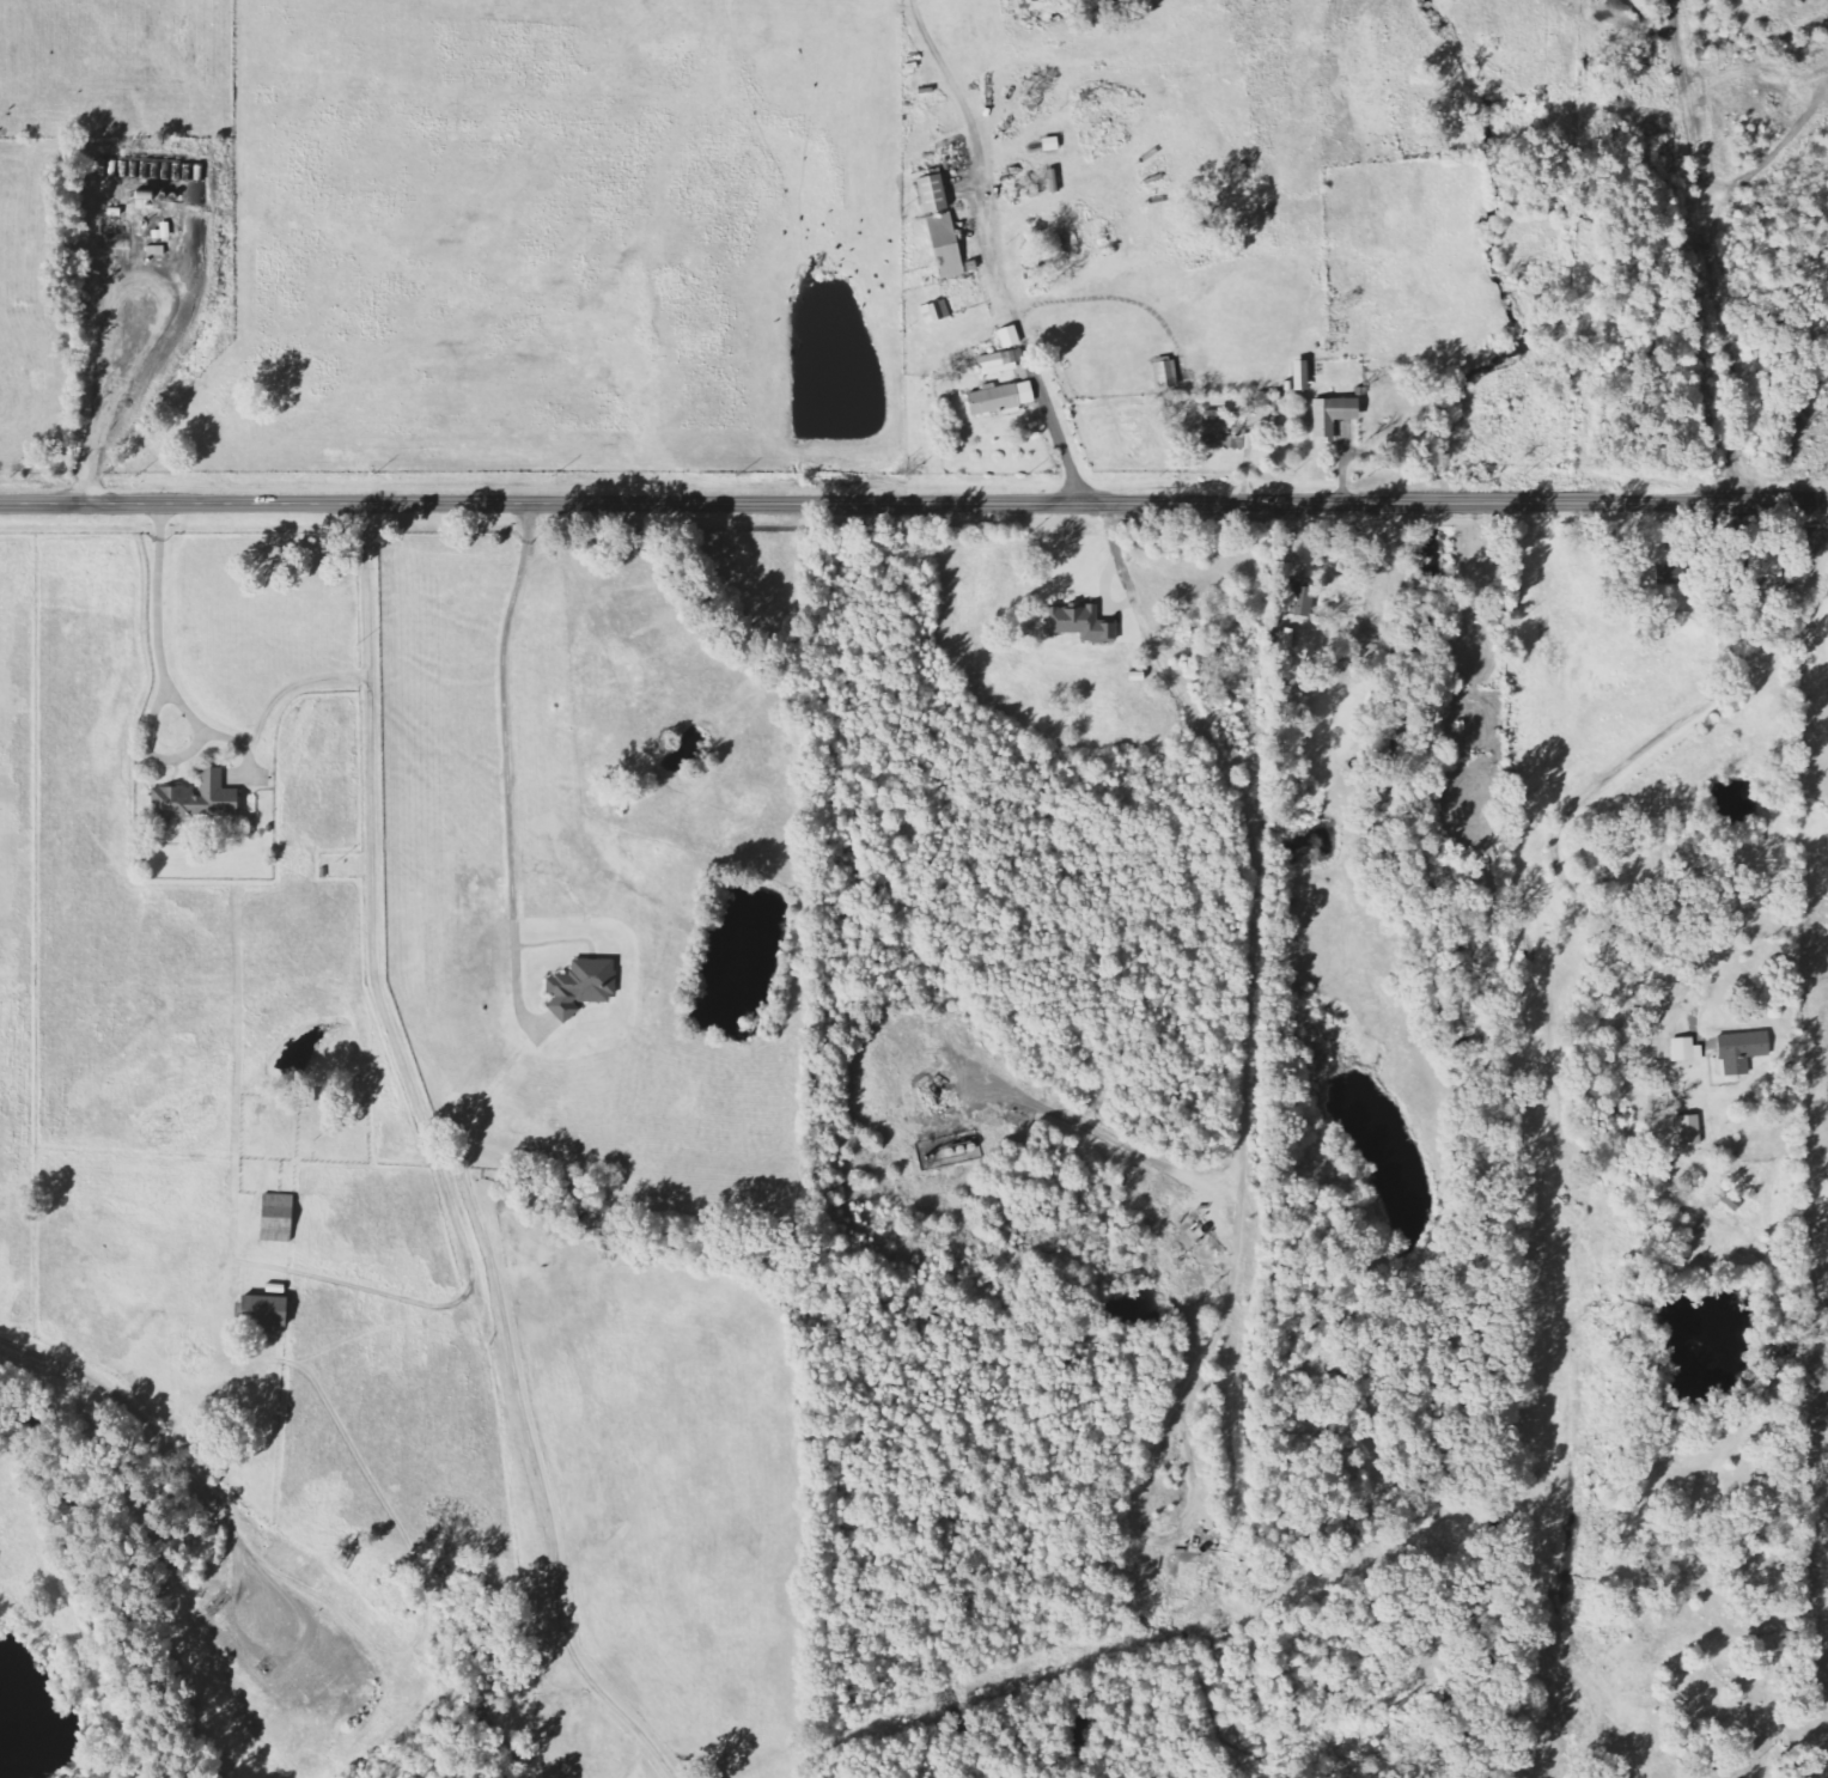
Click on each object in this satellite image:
building: (944, 226)
building: (938, 312)
building: (1011, 336)
building: (1003, 361)
building: (1168, 375)
building: (1003, 398)
building: (1334, 416)
building: (1214, 422)
road: (914, 503)
building: (1768, 566)
building: (1672, 576)
building: (1303, 601)
building: (1083, 625)
building: (197, 799)
building: (581, 987)
building: (1688, 1049)
building: (1743, 1049)
building: (1692, 1129)
building: (1733, 1201)
building: (279, 1218)
building: (267, 1311)

